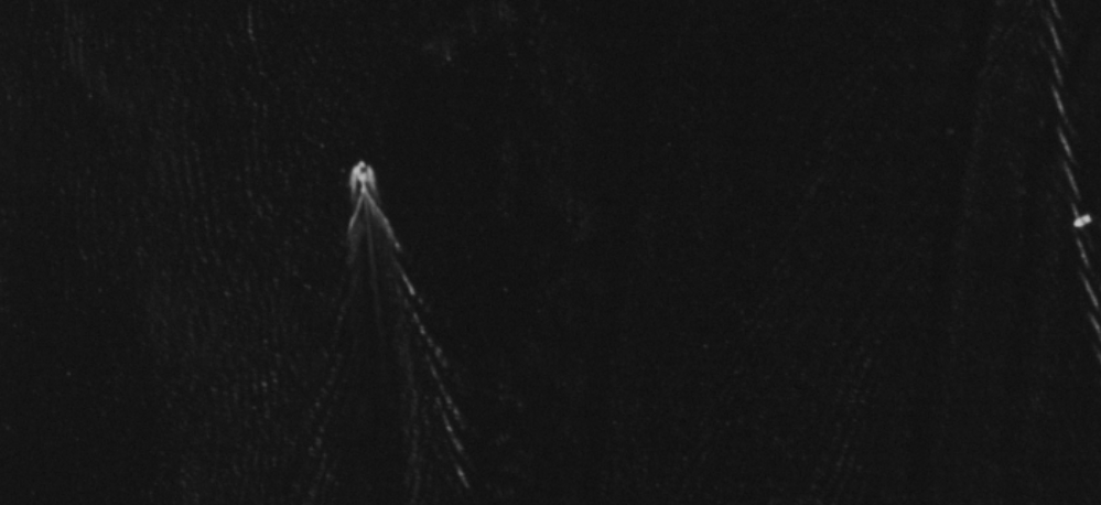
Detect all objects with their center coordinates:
river: (582, 253)

